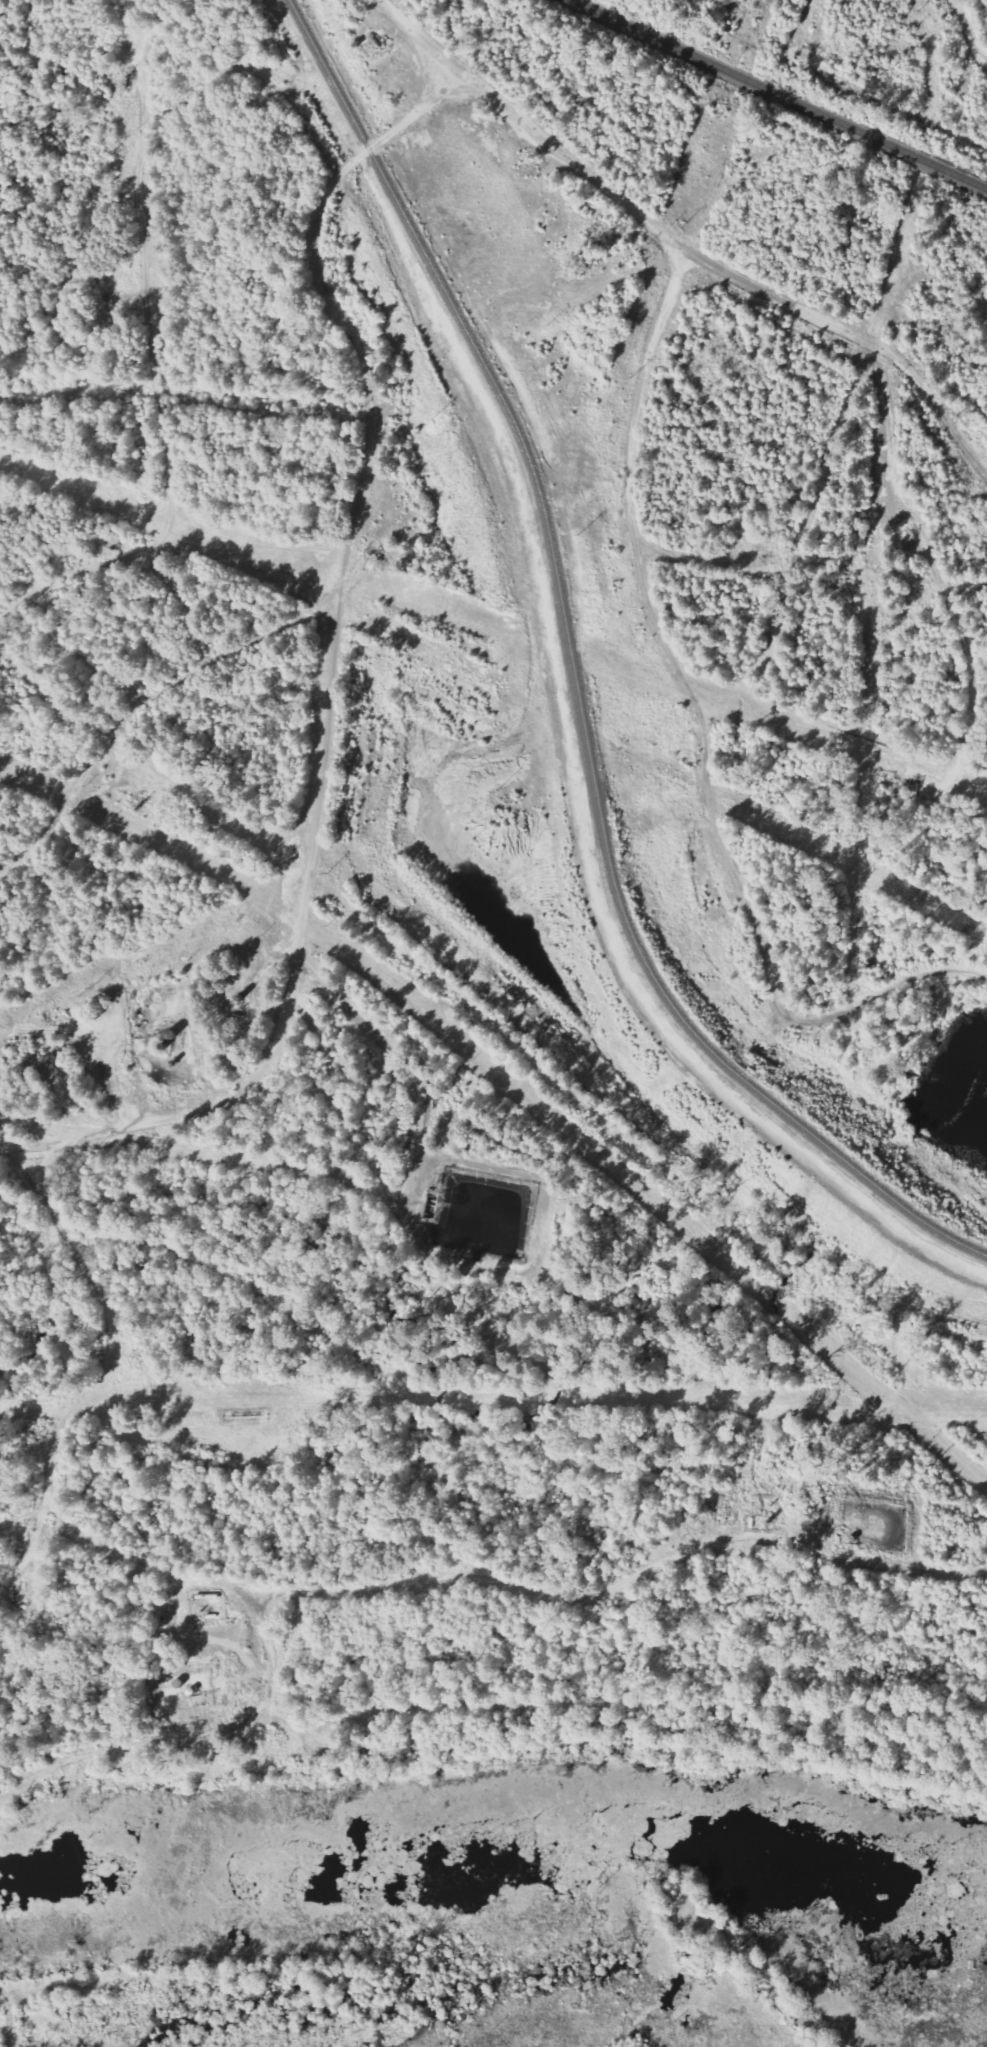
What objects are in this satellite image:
railway: (777, 95)
road: (683, 246)
road: (336, 664)
railway: (579, 678)
road: (706, 730)
road: (276, 1591)

